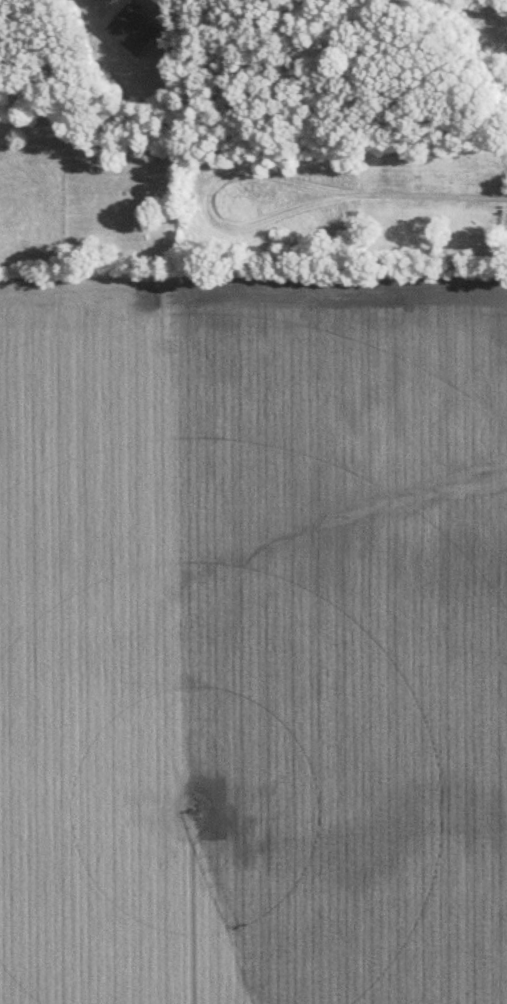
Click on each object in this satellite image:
building: (134, 27)
road: (39, 52)
crop: (253, 631)

